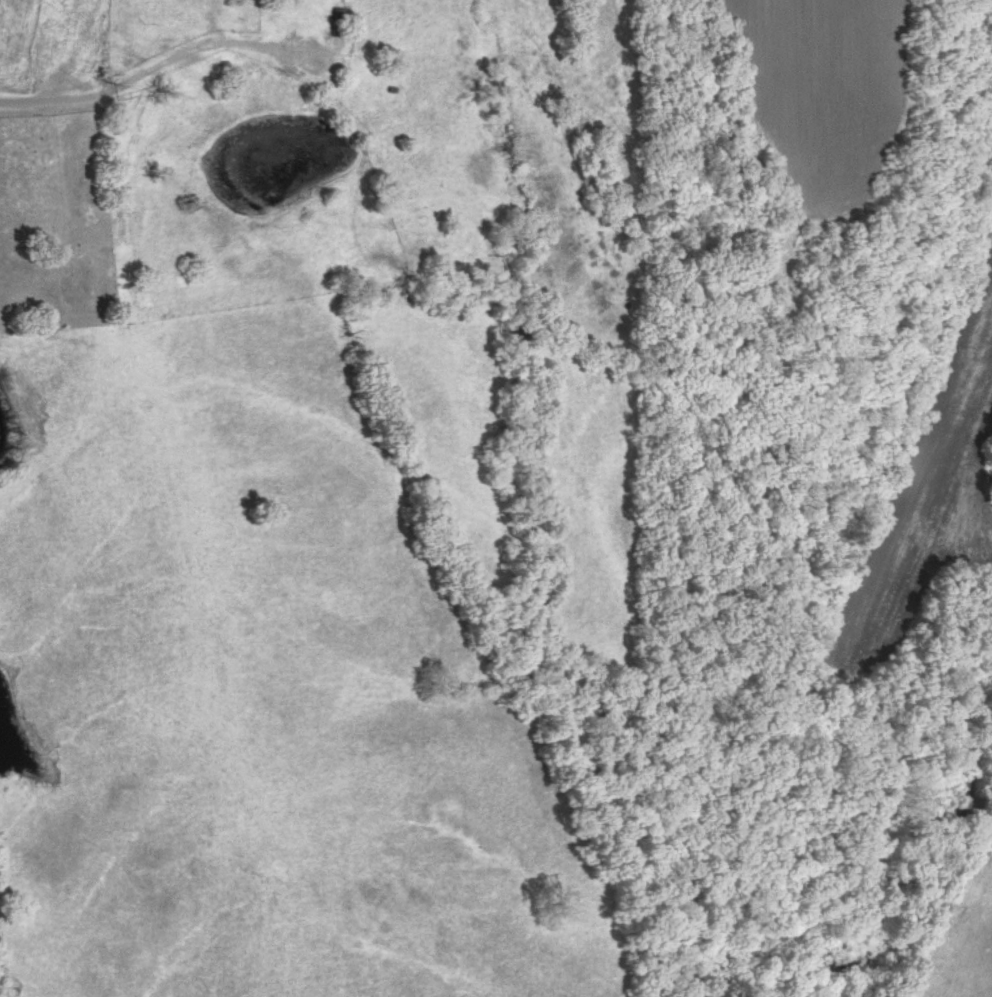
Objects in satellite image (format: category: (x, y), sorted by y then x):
building: (293, 14)
road: (209, 45)
road: (58, 101)
park: (52, 219)

